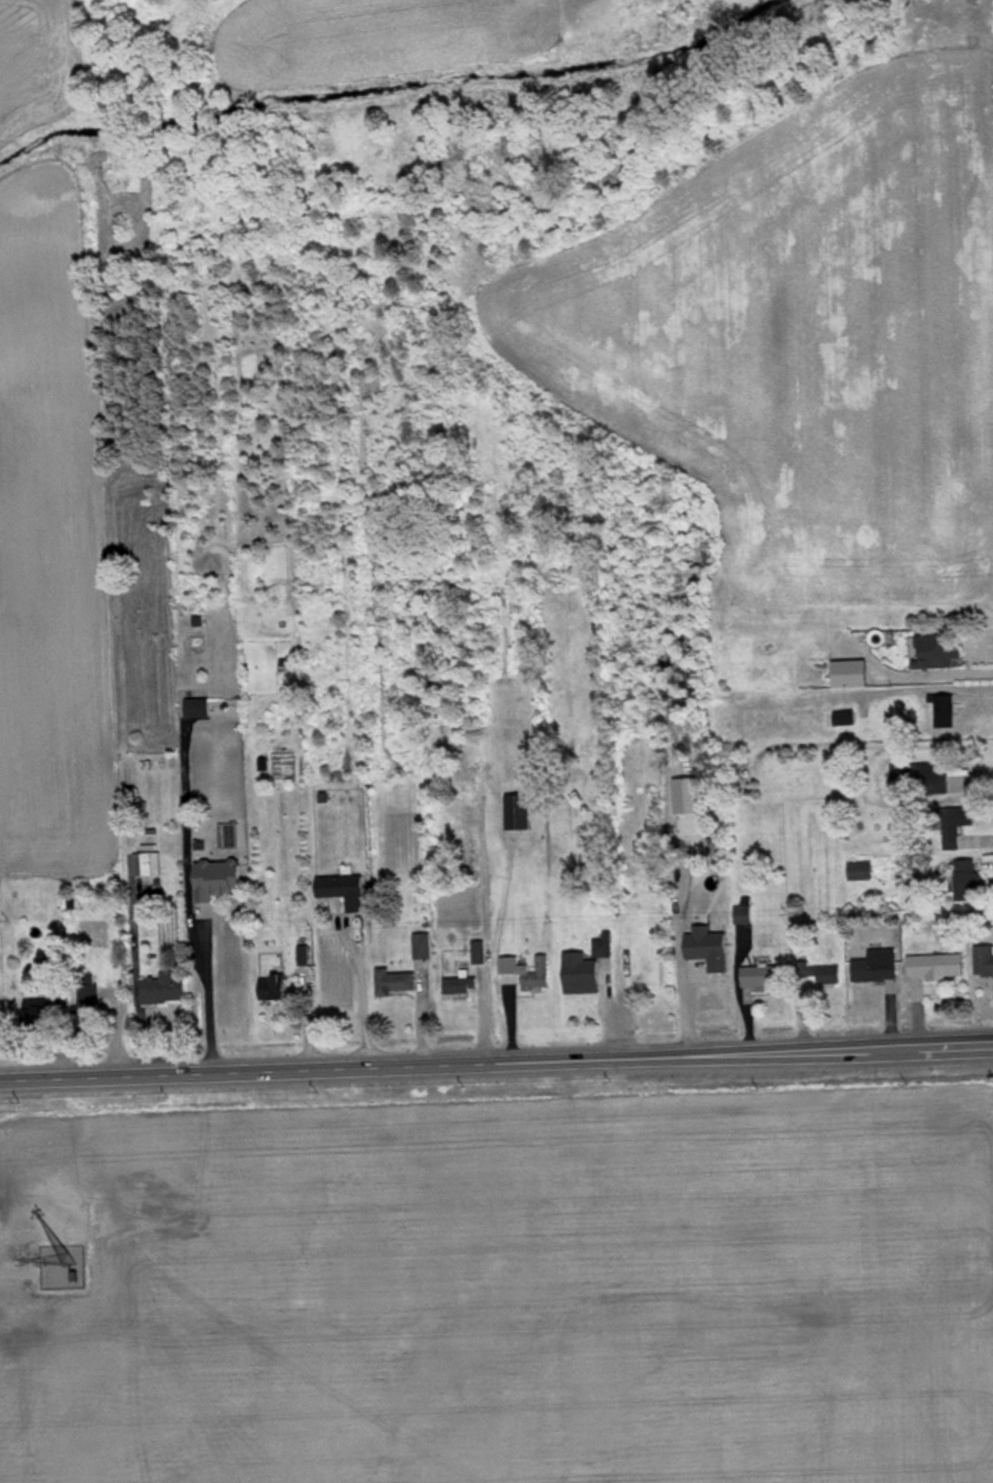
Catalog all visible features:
building: (940, 657)
building: (853, 676)
building: (200, 711)
building: (946, 713)
building: (843, 721)
building: (922, 781)
building: (520, 815)
building: (956, 827)
building: (152, 846)
building: (150, 866)
building: (862, 873)
building: (221, 881)
building: (970, 884)
building: (346, 893)
building: (745, 917)
building: (985, 963)
building: (646, 964)
building: (54, 967)
building: (879, 969)
building: (938, 969)
building: (583, 977)
building: (830, 978)
building: (539, 979)
building: (765, 979)
building: (397, 985)
building: (462, 986)
building: (276, 990)
building: (166, 992)
building: (90, 999)
building: (55, 1004)
road: (496, 1062)

